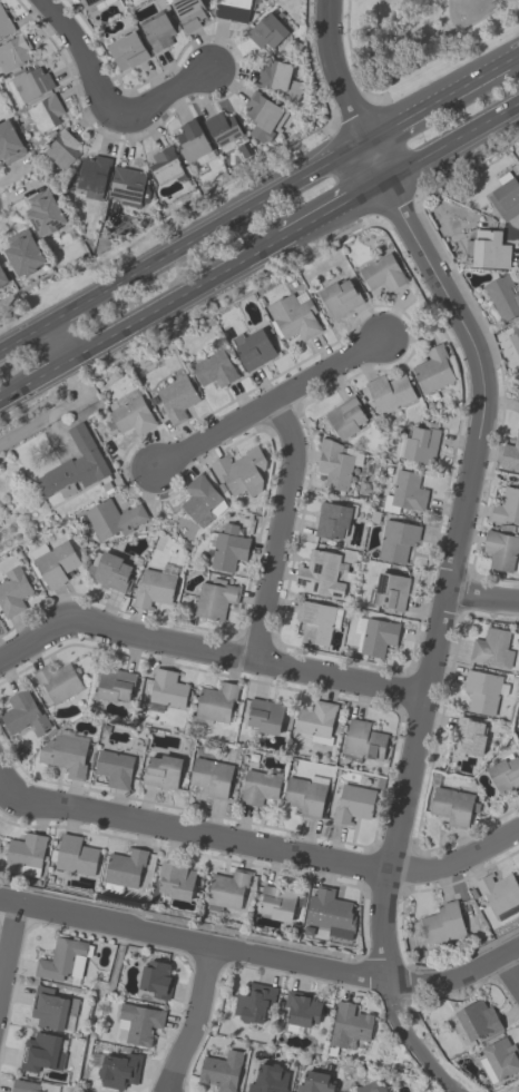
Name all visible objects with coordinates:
building: (94, 2)
building: (233, 9)
building: (188, 12)
building: (4, 23)
building: (266, 30)
building: (158, 31)
park: (419, 39)
building: (127, 50)
building: (13, 51)
road: (82, 58)
road: (512, 59)
building: (278, 79)
building: (31, 82)
road: (166, 94)
road: (435, 101)
building: (45, 112)
building: (261, 115)
building: (222, 127)
road: (451, 137)
building: (9, 142)
building: (193, 142)
building: (62, 148)
building: (165, 164)
building: (92, 173)
building: (126, 184)
building: (506, 197)
road: (331, 205)
building: (43, 213)
road: (183, 244)
building: (489, 248)
building: (22, 252)
building: (382, 273)
building: (2, 276)
road: (173, 294)
building: (502, 296)
building: (340, 297)
building: (293, 316)
road: (57, 337)
building: (515, 340)
building: (253, 348)
road: (48, 367)
building: (214, 368)
building: (433, 368)
road: (14, 388)
building: (389, 392)
building: (176, 397)
road: (266, 405)
road: (59, 410)
building: (131, 415)
building: (343, 416)
building: (421, 442)
building: (510, 453)
building: (334, 464)
building: (74, 465)
building: (242, 471)
building: (404, 492)
building: (202, 500)
building: (506, 506)
building: (112, 518)
building: (331, 520)
road: (274, 529)
building: (396, 540)
road: (453, 542)
building: (226, 547)
building: (500, 549)
building: (53, 562)
building: (111, 572)
building: (320, 573)
building: (153, 588)
building: (389, 590)
building: (12, 591)
road: (481, 591)
building: (214, 599)
building: (317, 621)
building: (378, 636)
building: (492, 648)
road: (206, 649)
building: (58, 680)
building: (115, 683)
building: (167, 688)
building: (482, 690)
building: (216, 701)
building: (23, 714)
building: (264, 715)
building: (315, 720)
building: (468, 736)
building: (363, 740)
building: (66, 755)
building: (114, 768)
building: (161, 770)
building: (505, 773)
building: (210, 776)
building: (258, 787)
building: (305, 794)
building: (353, 803)
building: (453, 806)
road: (258, 845)
building: (27, 853)
building: (75, 855)
building: (124, 869)
building: (176, 881)
building: (227, 888)
building: (498, 891)
building: (275, 902)
building: (330, 913)
building: (442, 923)
road: (7, 941)
road: (261, 956)
building: (62, 958)
road: (507, 968)
building: (156, 978)
building: (253, 1002)
building: (52, 1009)
building: (301, 1010)
building: (477, 1019)
building: (140, 1022)
road: (194, 1022)
building: (349, 1024)
building: (41, 1052)
building: (501, 1056)
building: (118, 1070)
building: (221, 1070)
building: (268, 1079)
building: (315, 1082)
building: (23, 1085)
building: (369, 1086)
building: (390, 1091)

